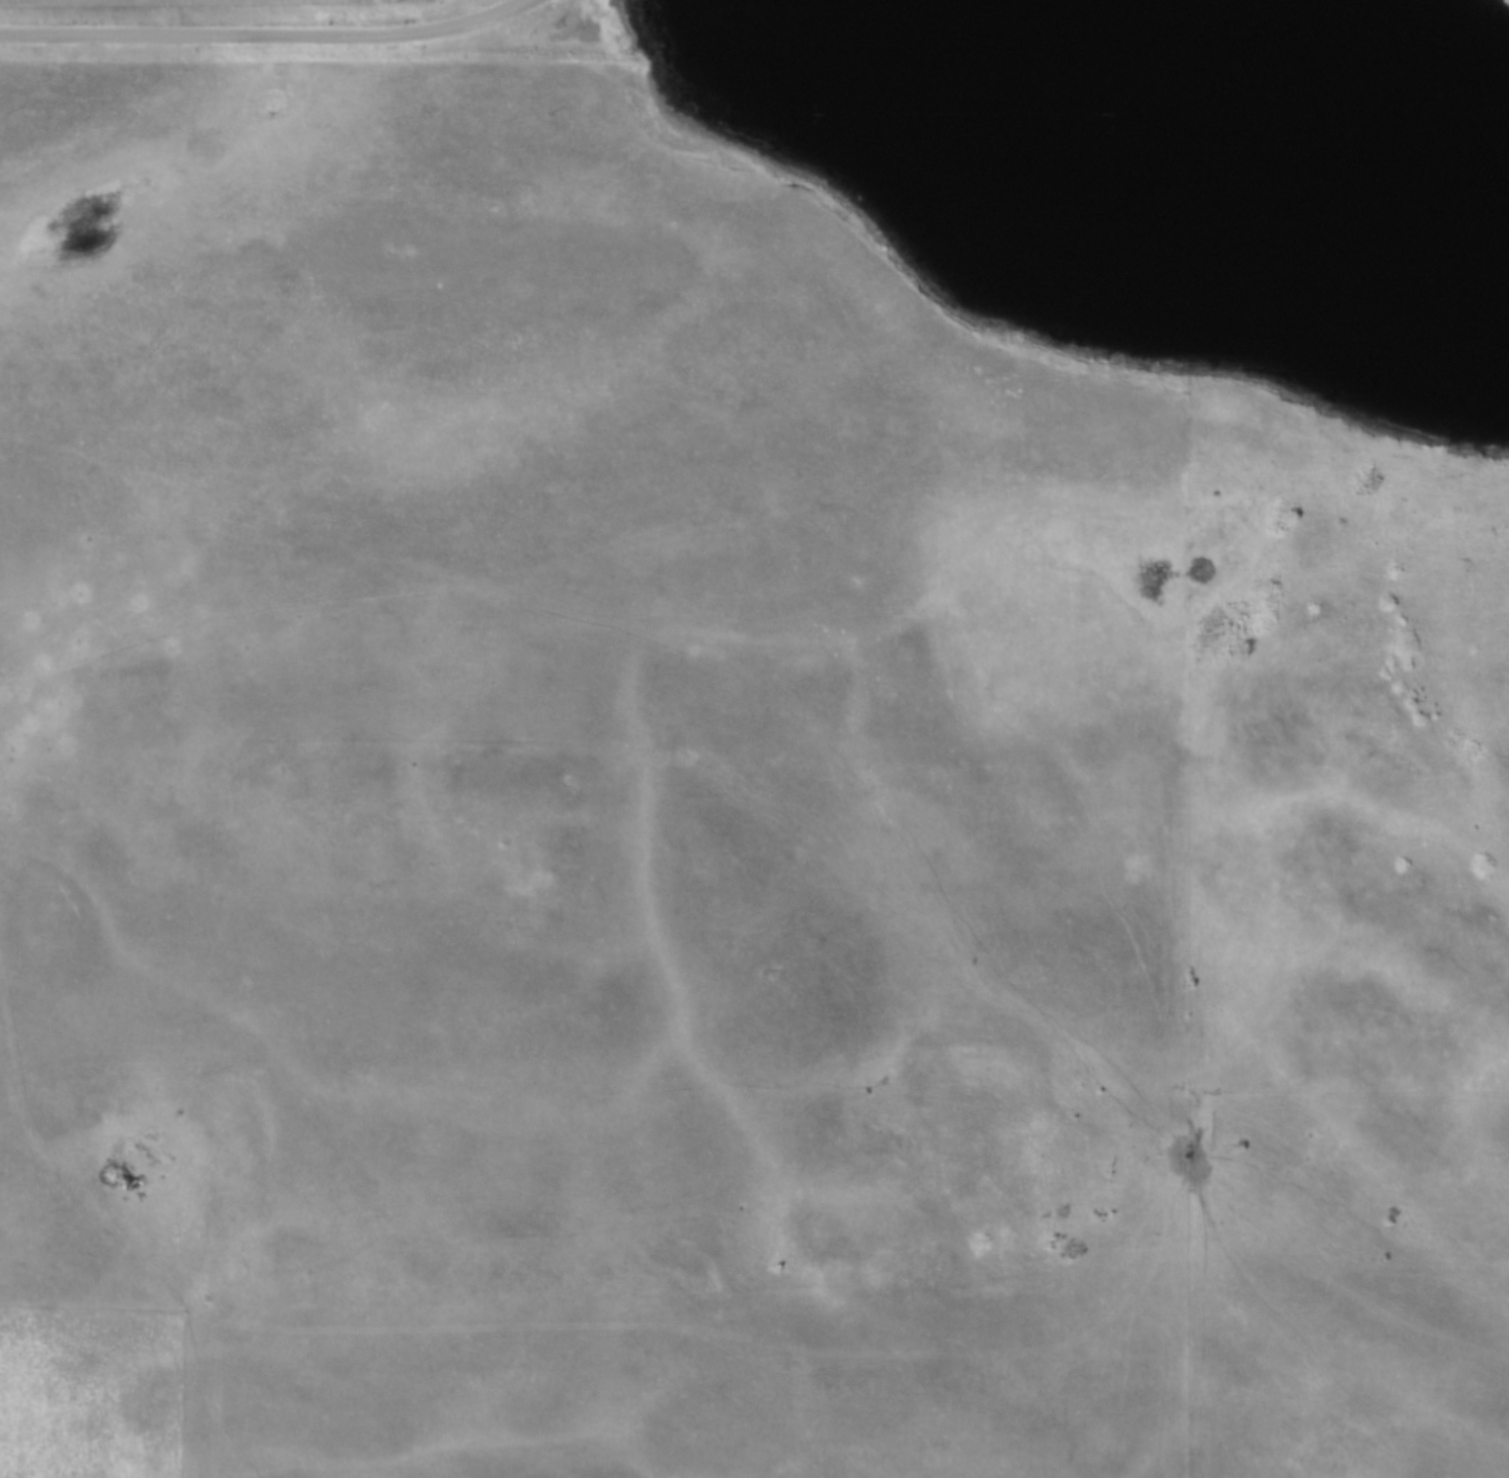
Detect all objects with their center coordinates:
road: (265, 35)

